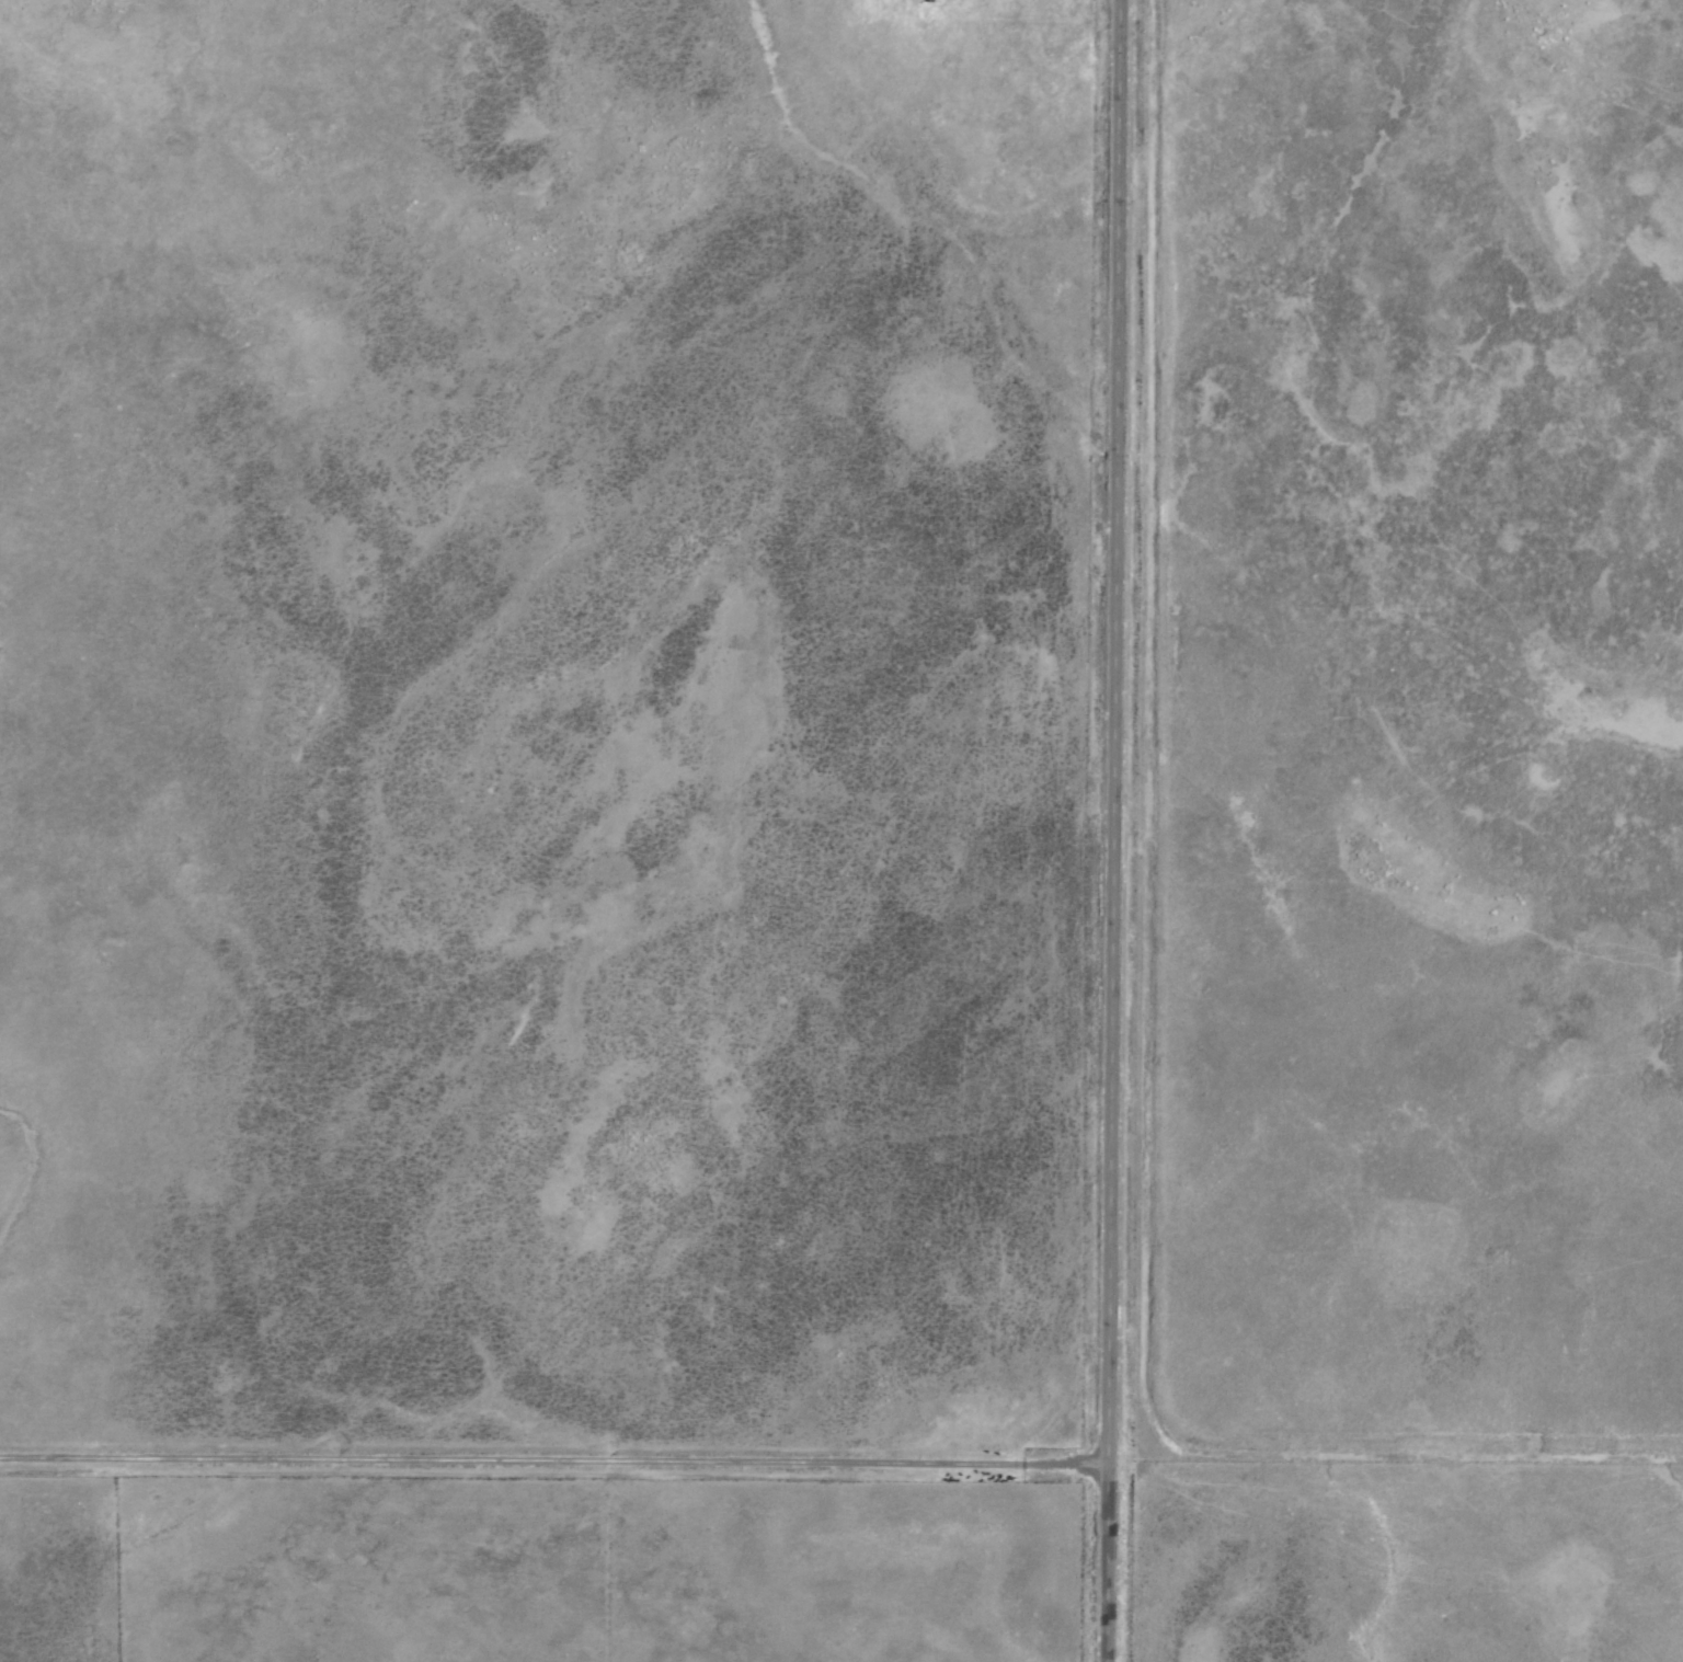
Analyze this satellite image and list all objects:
crop: (923, 812)
road: (1109, 830)
road: (552, 1459)

